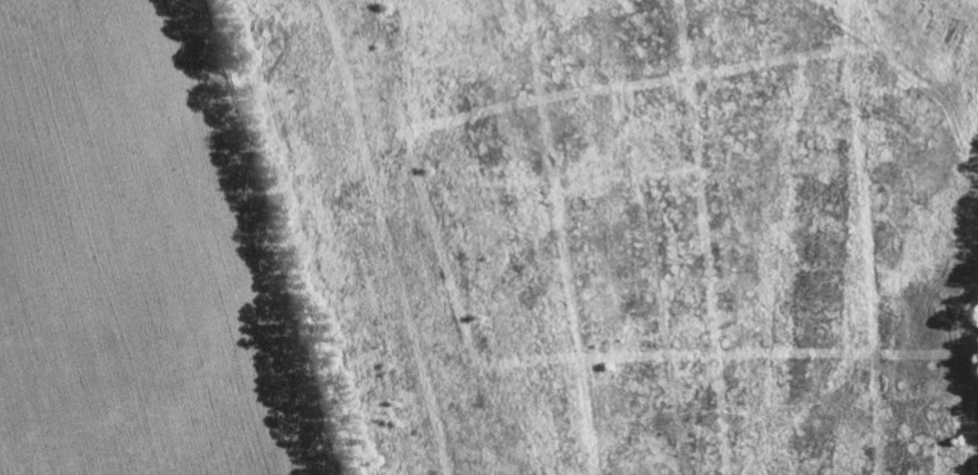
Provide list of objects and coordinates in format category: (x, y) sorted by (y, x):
road: (285, 238)

